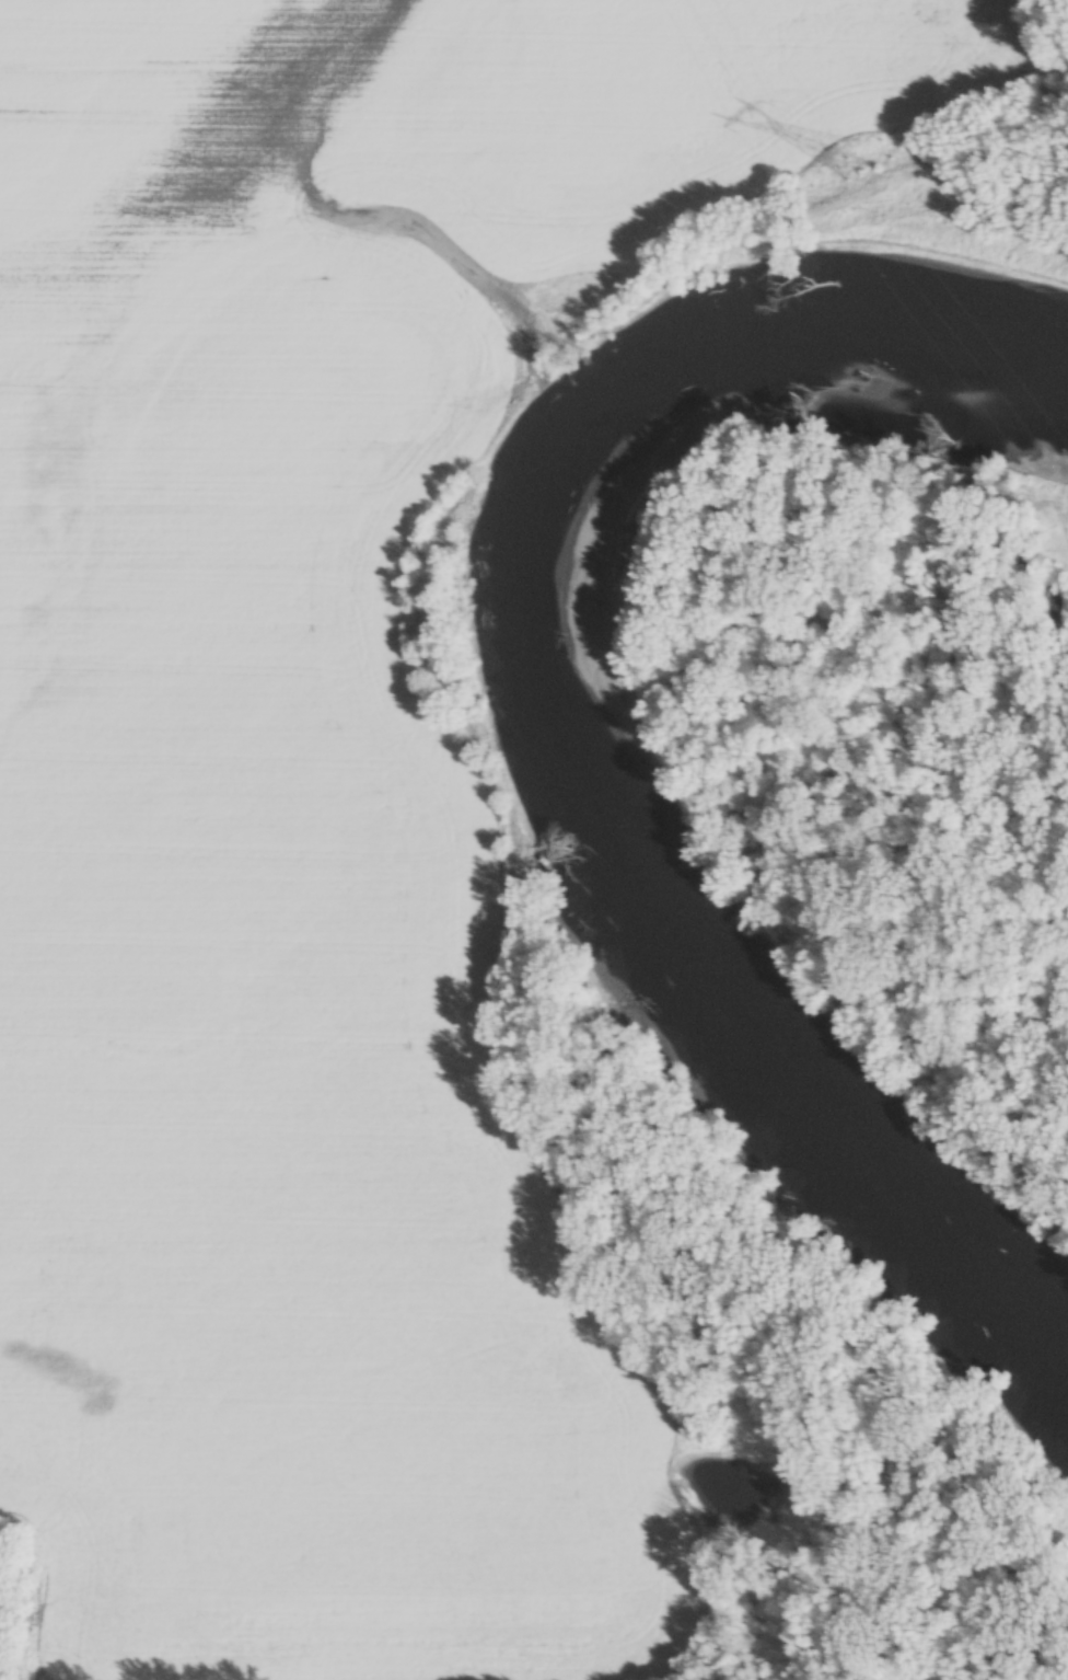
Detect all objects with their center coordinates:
power tower: (843, 148)
river: (579, 732)

